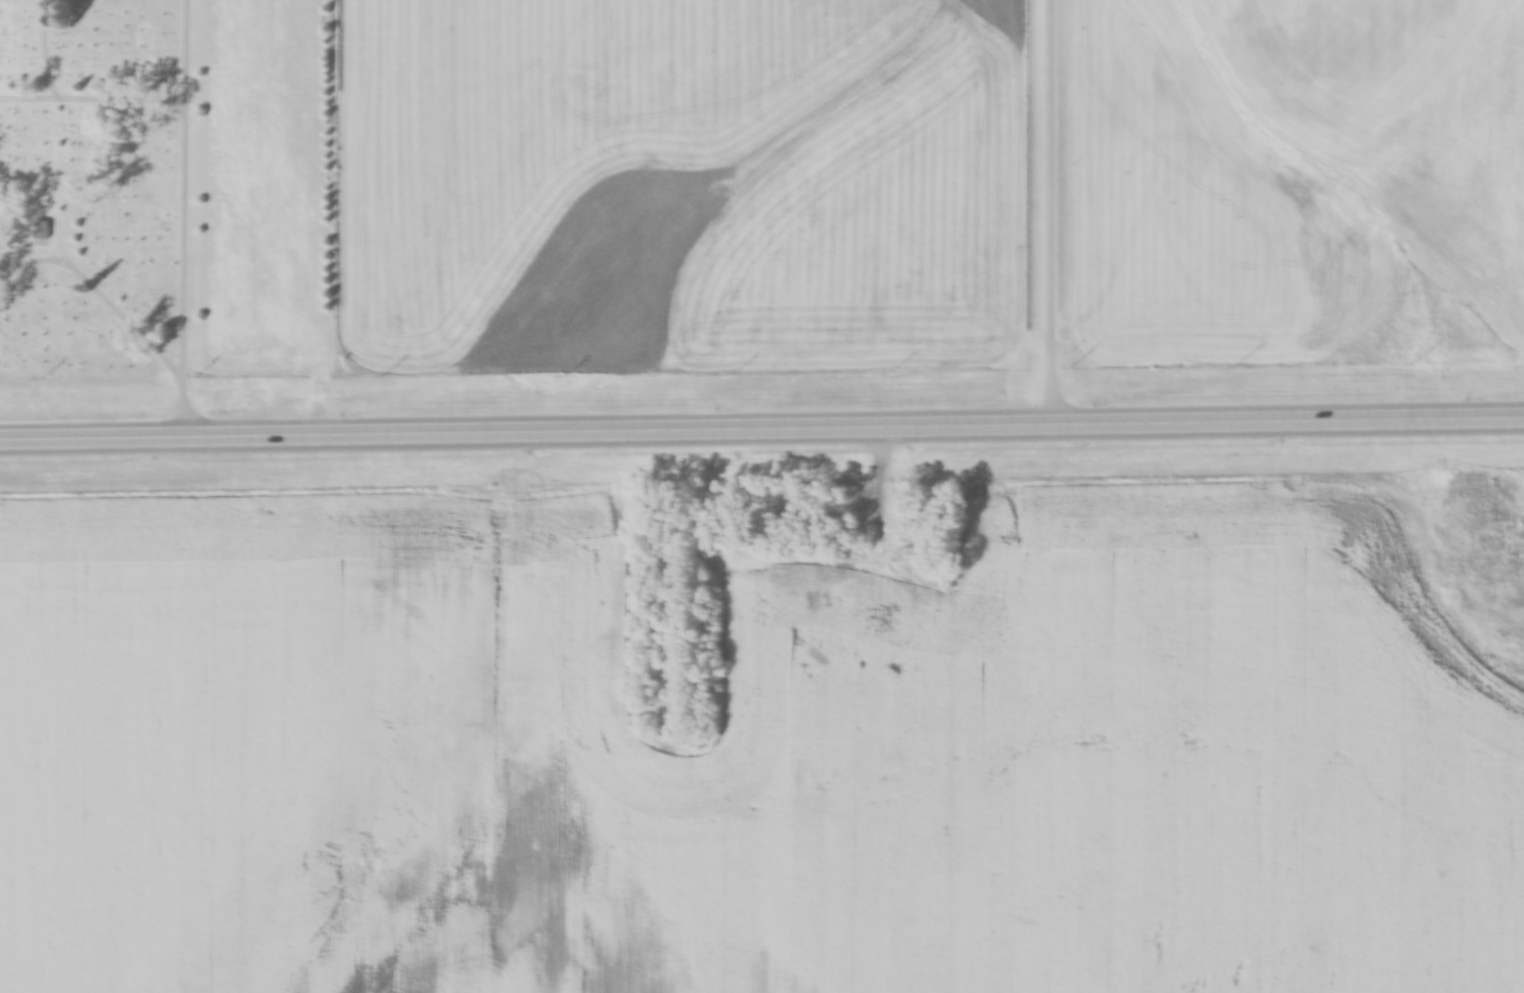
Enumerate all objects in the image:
road: (1050, 212)
building: (42, 230)
road: (761, 427)

